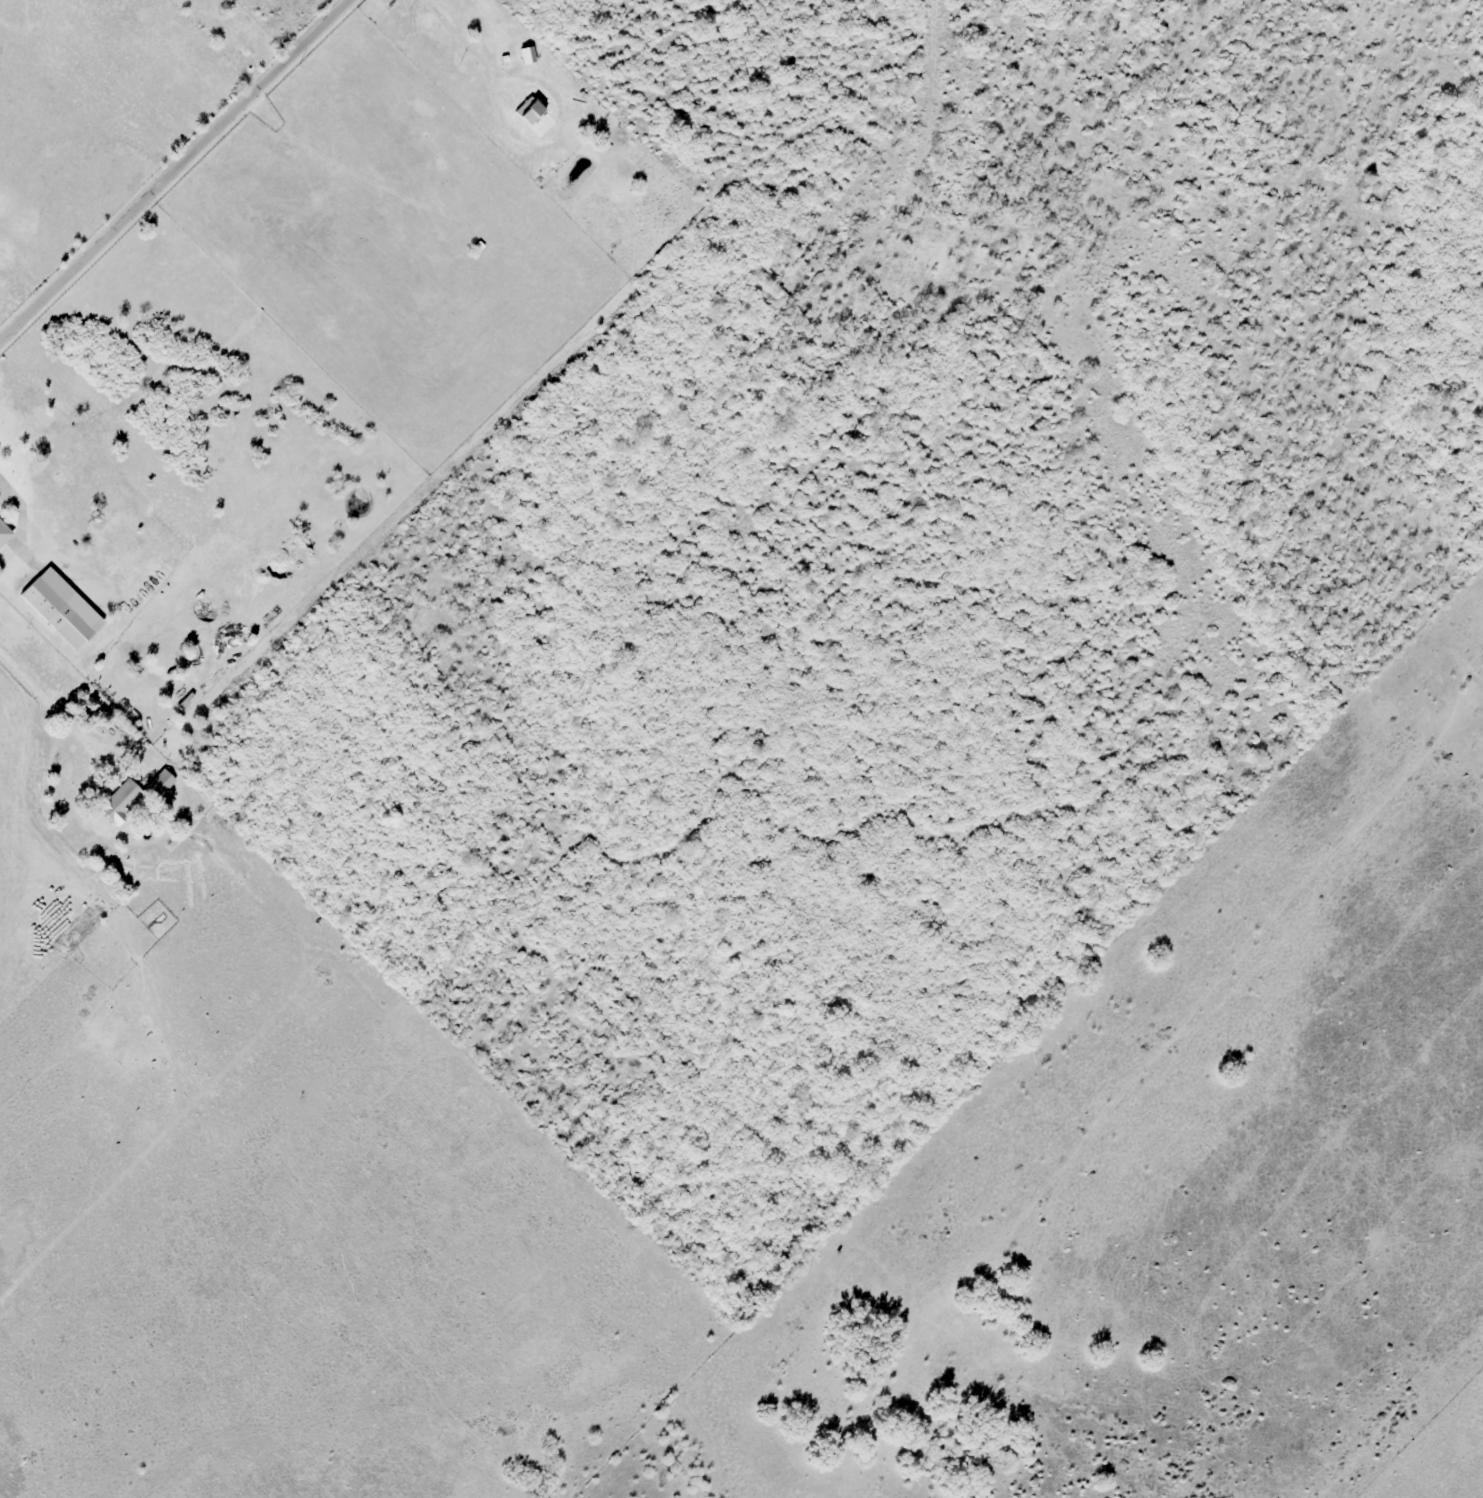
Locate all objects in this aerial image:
road: (174, 170)
building: (4, 534)
building: (158, 783)
building: (118, 802)

